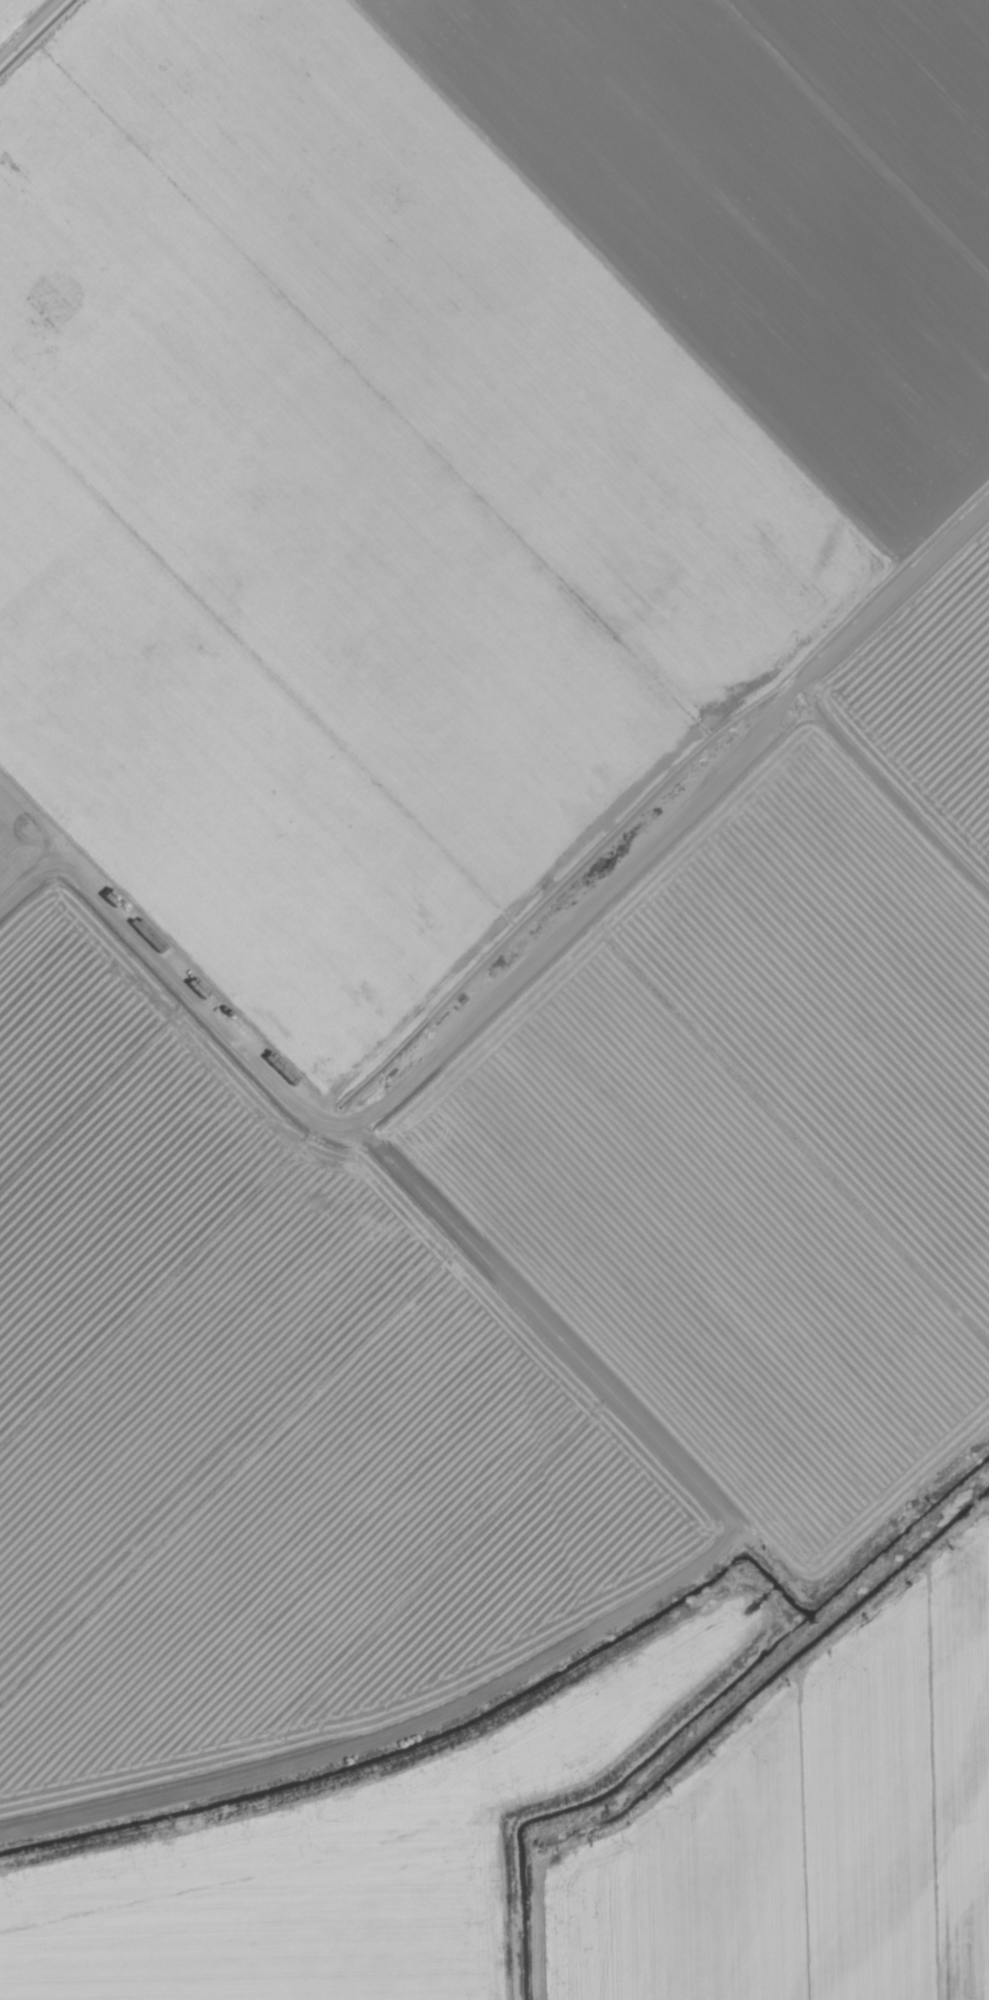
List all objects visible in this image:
crop: (18, 844)

